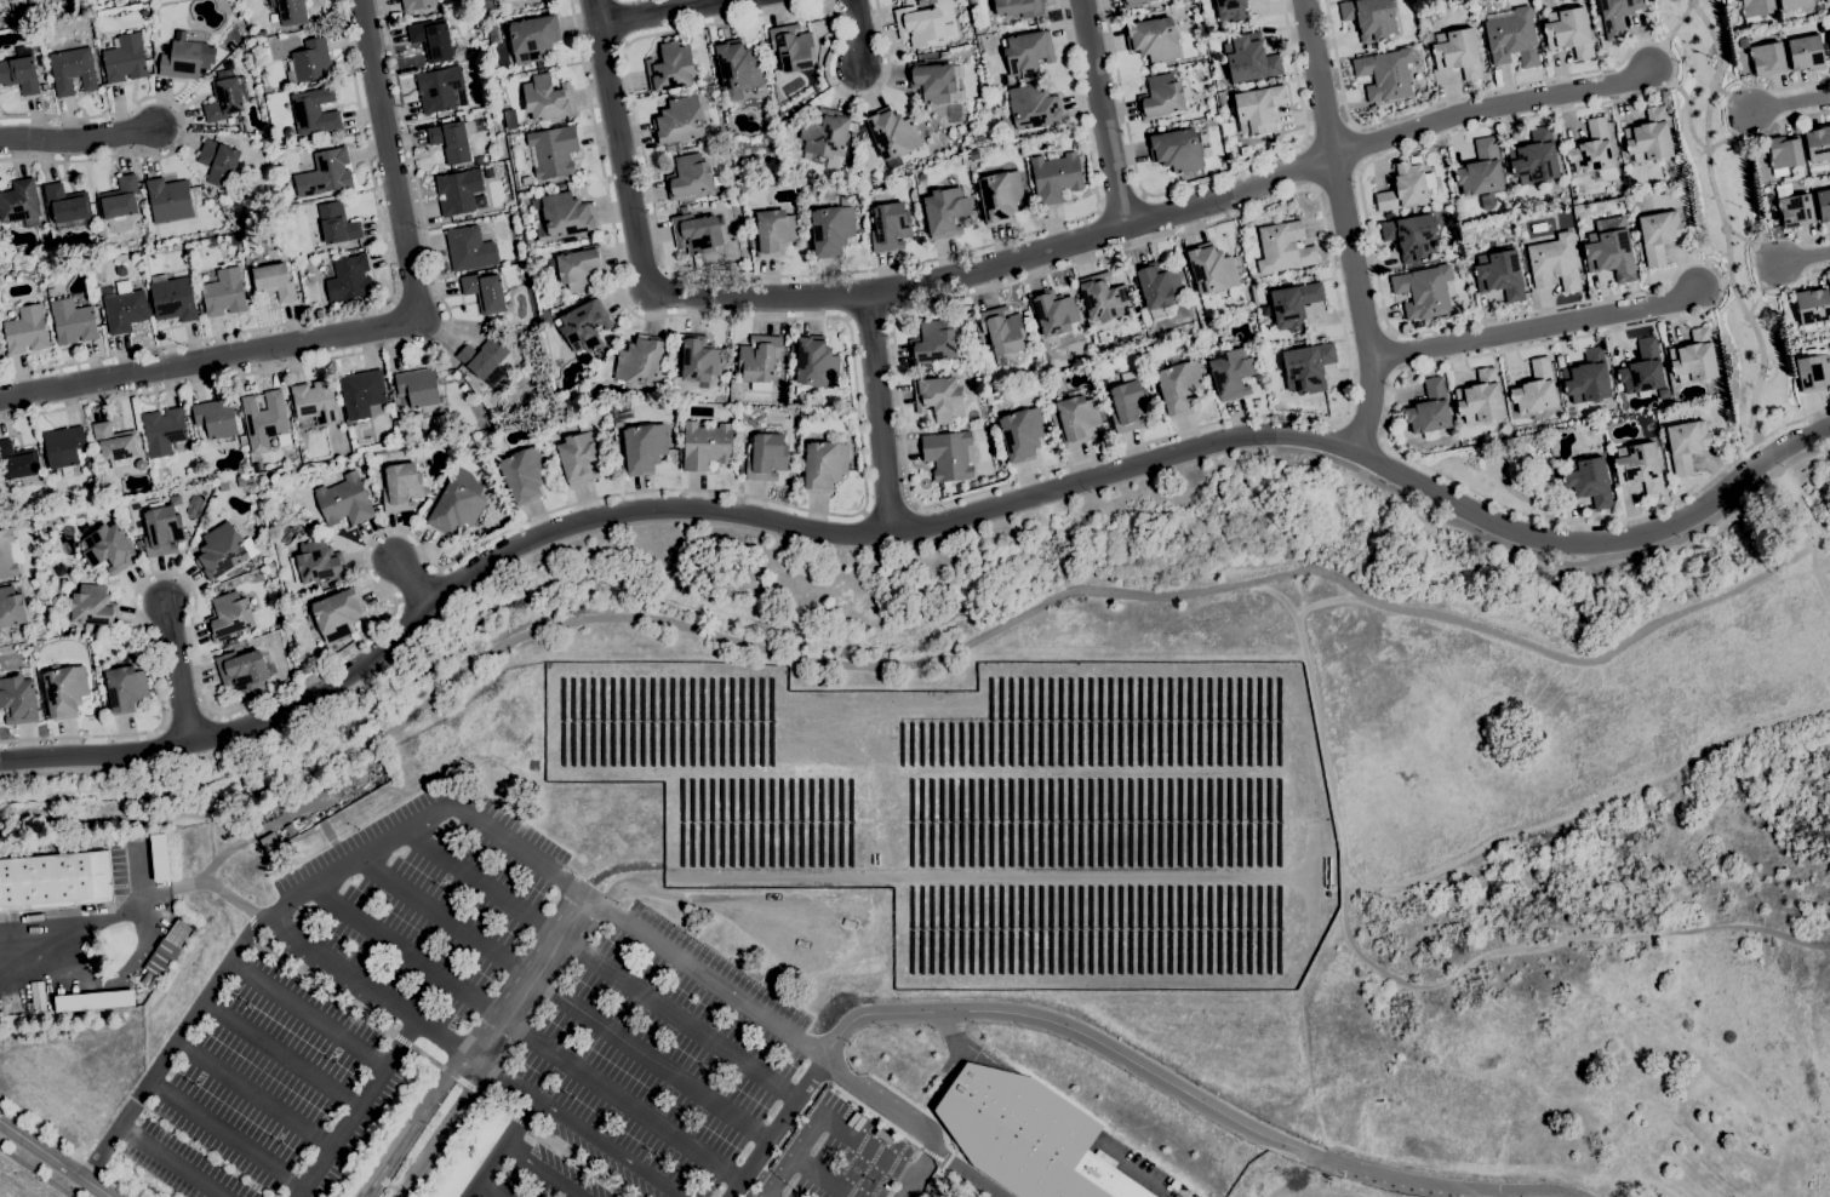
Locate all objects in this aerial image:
building: (442, 0)
building: (505, 0)
building: (531, 0)
building: (1825, 0)
building: (29, 1)
building: (1728, 1)
building: (1828, 1)
building: (1184, 2)
building: (416, 4)
building: (1131, 4)
building: (1797, 5)
building: (12, 6)
building: (1018, 7)
building: (1231, 10)
building: (1755, 10)
building: (290, 11)
building: (1138, 11)
building: (143, 12)
road: (673, 12)
building: (1617, 16)
building: (1369, 18)
building: (1431, 18)
road: (1679, 23)
building: (919, 25)
building: (1568, 31)
building: (492, 33)
building: (258, 34)
road: (850, 34)
building: (1511, 36)
building: (431, 39)
building: (533, 39)
building: (1153, 39)
building: (793, 47)
building: (155, 50)
building: (1457, 52)
building: (1806, 53)
building: (943, 55)
building: (1028, 55)
building: (219, 56)
building: (125, 58)
building: (1249, 58)
building: (1767, 58)
building: (183, 61)
building: (309, 62)
building: (213, 63)
building: (670, 68)
building: (737, 68)
building: (73, 70)
building: (19, 71)
building: (536, 71)
building: (1385, 74)
building: (707, 75)
building: (1270, 80)
building: (934, 82)
building: (44, 85)
road: (1786, 88)
building: (441, 90)
building: (1161, 96)
building: (225, 97)
building: (547, 98)
road: (1732, 98)
road: (1790, 102)
road: (1491, 103)
building: (1030, 109)
building: (1258, 109)
building: (314, 111)
road: (1103, 113)
building: (510, 119)
building: (446, 120)
road: (1789, 120)
building: (679, 122)
building: (787, 122)
road: (184, 125)
building: (222, 127)
building: (1160, 128)
building: (287, 131)
building: (860, 131)
building: (827, 133)
building: (892, 136)
building: (979, 137)
building: (1649, 137)
building: (454, 139)
road: (1697, 142)
road: (76, 143)
building: (1270, 144)
building: (1818, 144)
building: (1056, 145)
building: (1592, 149)
building: (1176, 150)
building: (551, 151)
building: (1243, 151)
building: (1783, 154)
building: (973, 155)
building: (1534, 157)
building: (1416, 159)
building: (479, 160)
building: (218, 162)
building: (1481, 170)
building: (328, 172)
building: (488, 172)
building: (688, 177)
building: (1054, 178)
road: (1199, 183)
building: (881, 188)
building: (1403, 188)
building: (459, 193)
building: (1000, 196)
building: (119, 199)
building: (168, 200)
building: (18, 201)
road: (1120, 202)
building: (67, 204)
building: (1823, 205)
building: (945, 211)
building: (1795, 211)
building: (566, 214)
building: (1388, 216)
building: (530, 218)
road: (1722, 220)
building: (337, 224)
road: (1349, 225)
building: (890, 227)
building: (831, 229)
building: (774, 233)
building: (696, 234)
building: (1659, 235)
building: (1412, 236)
building: (234, 240)
road: (1800, 241)
building: (750, 244)
road: (1754, 245)
building: (1282, 247)
building: (469, 248)
building: (1609, 254)
road: (1805, 258)
road: (663, 262)
building: (697, 262)
building: (1469, 262)
building: (1554, 262)
building: (95, 263)
building: (524, 268)
building: (581, 268)
building: (1213, 269)
building: (121, 271)
road: (1803, 273)
building: (98, 275)
building: (1499, 275)
building: (349, 279)
building: (273, 281)
road: (1726, 282)
building: (1156, 287)
road: (1761, 288)
building: (485, 291)
building: (1423, 291)
building: (224, 293)
road: (851, 297)
building: (1103, 297)
building: (173, 299)
building: (1294, 304)
building: (1812, 307)
building: (125, 308)
building: (1266, 309)
road: (345, 311)
building: (1052, 311)
road: (1531, 311)
road: (869, 316)
building: (72, 322)
building: (584, 325)
road: (1538, 325)
building: (25, 330)
road: (376, 330)
building: (504, 330)
building: (1002, 330)
building: (1150, 331)
building: (515, 333)
building: (1103, 338)
building: (932, 343)
road: (391, 348)
building: (791, 348)
building: (733, 354)
building: (1694, 357)
building: (699, 359)
building: (484, 360)
building: (639, 361)
building: (759, 361)
building: (816, 362)
building: (1306, 367)
building: (1642, 370)
building: (1813, 372)
building: (1231, 373)
building: (1586, 378)
building: (419, 386)
building: (1179, 388)
building: (1536, 389)
building: (361, 393)
building: (938, 397)
building: (1480, 399)
building: (1029, 402)
building: (314, 403)
building: (1128, 403)
building: (561, 409)
building: (1429, 411)
building: (621, 414)
building: (216, 418)
building: (267, 418)
road: (877, 418)
building: (1053, 418)
building: (749, 419)
building: (1077, 419)
building: (1647, 425)
road: (1360, 430)
building: (162, 431)
building: (358, 434)
building: (1022, 434)
building: (242, 440)
building: (487, 441)
building: (1590, 441)
building: (114, 443)
building: (1686, 445)
building: (261, 446)
building: (705, 446)
building: (471, 447)
building: (63, 448)
building: (644, 448)
building: (581, 454)
building: (766, 454)
building: (947, 456)
road: (1805, 457)
road: (1768, 458)
building: (17, 462)
building: (141, 464)
building: (824, 465)
building: (742, 466)
building: (1639, 466)
building: (524, 475)
building: (1588, 481)
building: (401, 487)
building: (344, 500)
road: (938, 503)
road: (565, 506)
road: (1801, 506)
building: (454, 509)
road: (888, 509)
building: (274, 516)
building: (248, 526)
building: (162, 531)
road: (913, 531)
road: (1825, 537)
building: (138, 544)
road: (1813, 545)
building: (108, 549)
building: (221, 550)
building: (6, 555)
building: (318, 562)
road: (1817, 578)
road: (414, 580)
road: (1281, 598)
building: (11, 608)
building: (88, 611)
building: (337, 613)
building: (228, 615)
road: (667, 625)
building: (231, 642)
road: (1589, 660)
building: (241, 670)
road: (175, 675)
building: (64, 686)
building: (125, 689)
building: (18, 698)
park: (1420, 778)
building: (290, 830)
building: (268, 842)
road: (524, 857)
building: (159, 858)
road: (1439, 871)
building: (55, 881)
road: (126, 907)
road: (1545, 949)
building: (165, 953)
road: (600, 966)
road: (527, 978)
road: (365, 989)
building: (93, 1001)
road: (562, 1002)
road: (305, 1014)
road: (1071, 1029)
parking lot: (496, 1032)
road: (525, 1035)
road: (954, 1041)
road: (278, 1055)
road: (819, 1092)
road: (251, 1094)
road: (919, 1107)
road: (412, 1123)
road: (828, 1124)
road: (577, 1126)
road: (778, 1128)
road: (115, 1130)
road: (441, 1130)
building: (1028, 1135)
road: (502, 1147)
road: (932, 1156)
road: (53, 1159)
road: (944, 1162)
road: (168, 1163)
road: (544, 1170)
road: (1269, 1170)
road: (35, 1172)
road: (920, 1174)
road: (966, 1174)
road: (819, 1178)
road: (305, 1180)
road: (928, 1186)
road: (1443, 1186)
road: (298, 1191)
road: (485, 1191)

